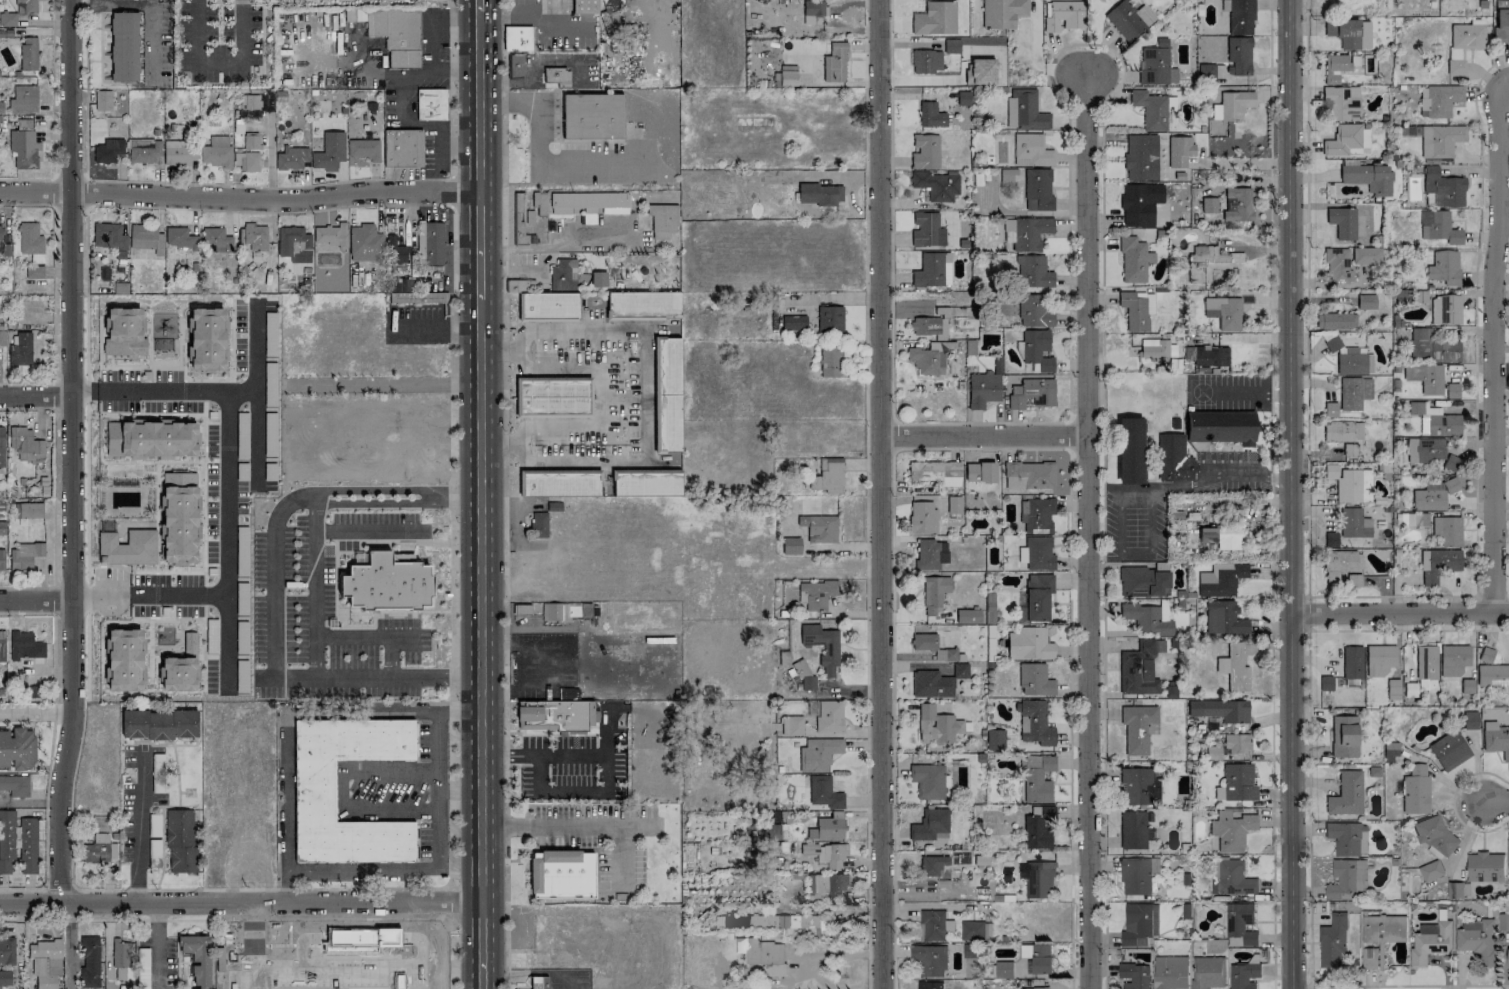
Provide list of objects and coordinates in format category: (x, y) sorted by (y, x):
road: (479, 5)
building: (26, 6)
building: (584, 6)
building: (813, 7)
building: (1002, 12)
building: (1064, 16)
building: (1239, 16)
building: (935, 18)
building: (7, 19)
building: (1129, 19)
building: (1501, 21)
road: (240, 29)
building: (1349, 32)
building: (396, 33)
building: (516, 37)
building: (1463, 43)
road: (1071, 44)
building: (952, 45)
building: (123, 46)
building: (28, 53)
building: (1239, 54)
building: (804, 59)
building: (926, 61)
building: (835, 62)
building: (515, 64)
building: (1156, 64)
building: (1335, 67)
building: (982, 71)
building: (1206, 72)
building: (556, 75)
building: (787, 78)
road: (1502, 81)
building: (963, 98)
building: (23, 99)
building: (1438, 100)
building: (250, 101)
road: (479, 101)
building: (1342, 102)
building: (430, 103)
building: (102, 105)
building: (1232, 105)
building: (1153, 108)
building: (1025, 110)
road: (51, 114)
building: (592, 115)
building: (931, 115)
building: (251, 140)
building: (1348, 140)
building: (1440, 140)
building: (401, 147)
building: (364, 149)
building: (23, 150)
building: (108, 150)
building: (143, 150)
building: (176, 150)
building: (1031, 150)
building: (1179, 150)
building: (217, 151)
building: (329, 151)
building: (924, 151)
building: (291, 157)
building: (1141, 157)
building: (247, 161)
road: (540, 162)
building: (1005, 175)
building: (1368, 177)
building: (936, 185)
road: (267, 186)
building: (1443, 188)
building: (1037, 189)
road: (56, 192)
building: (819, 193)
road: (240, 198)
building: (589, 202)
building: (540, 203)
building: (1237, 204)
building: (1208, 205)
building: (1136, 206)
building: (662, 220)
building: (1342, 222)
building: (1438, 227)
building: (926, 230)
building: (0, 232)
building: (1030, 232)
building: (331, 235)
building: (109, 236)
building: (255, 236)
building: (30, 238)
building: (147, 238)
building: (180, 238)
building: (216, 239)
building: (428, 242)
building: (365, 243)
building: (294, 244)
road: (561, 244)
road: (480, 245)
building: (396, 251)
building: (1366, 255)
building: (37, 258)
building: (1134, 259)
building: (1208, 262)
building: (1337, 264)
building: (1444, 266)
building: (929, 270)
building: (34, 271)
building: (1033, 271)
road: (52, 293)
building: (416, 297)
road: (1307, 297)
building: (1366, 301)
building: (643, 304)
building: (550, 305)
building: (1137, 309)
building: (1445, 309)
building: (1033, 311)
building: (1224, 312)
building: (829, 319)
building: (1336, 320)
building: (793, 322)
building: (925, 325)
building: (942, 329)
road: (433, 330)
building: (123, 332)
building: (1, 334)
building: (205, 339)
building: (1432, 346)
road: (1495, 347)
building: (1156, 348)
building: (1036, 349)
building: (21, 350)
building: (1188, 352)
building: (1210, 356)
building: (927, 359)
building: (830, 361)
building: (1354, 362)
road: (257, 365)
building: (1425, 377)
road: (1474, 377)
building: (983, 389)
building: (1452, 390)
building: (1354, 392)
building: (667, 393)
building: (1032, 393)
road: (1242, 394)
building: (552, 395)
road: (601, 395)
road: (36, 396)
road: (480, 397)
road: (644, 397)
building: (1330, 409)
building: (1435, 420)
building: (1220, 426)
road: (982, 435)
building: (150, 439)
road: (256, 441)
building: (26, 444)
building: (2, 447)
road: (981, 448)
building: (1425, 449)
building: (1129, 450)
road: (72, 452)
building: (1173, 458)
building: (1452, 462)
road: (226, 465)
building: (985, 471)
building: (971, 473)
building: (1029, 475)
road: (1205, 478)
building: (645, 482)
building: (1345, 482)
building: (561, 484)
road: (375, 490)
road: (504, 492)
road: (1161, 492)
road: (867, 494)
road: (879, 494)
road: (1272, 494)
road: (1291, 494)
building: (1431, 496)
road: (458, 497)
road: (375, 503)
building: (30, 509)
building: (928, 513)
building: (1036, 515)
building: (178, 517)
building: (1411, 519)
building: (539, 524)
building: (1355, 525)
building: (2, 527)
building: (819, 528)
road: (1086, 529)
building: (1447, 530)
building: (1220, 535)
road: (480, 538)
building: (1330, 539)
building: (791, 545)
building: (127, 547)
building: (1037, 553)
road: (1132, 553)
building: (930, 554)
building: (25, 555)
building: (241, 556)
building: (2, 559)
building: (1438, 563)
building: (1340, 564)
building: (1221, 579)
building: (1144, 580)
building: (1353, 580)
building: (386, 583)
road: (315, 586)
building: (934, 593)
road: (149, 594)
building: (816, 594)
road: (1329, 595)
building: (1036, 598)
road: (36, 600)
building: (552, 611)
building: (1163, 611)
road: (1308, 612)
road: (1400, 614)
building: (968, 616)
building: (1145, 618)
building: (1224, 618)
road: (450, 630)
road: (1335, 630)
road: (1435, 630)
road: (364, 636)
building: (1029, 643)
building: (25, 645)
building: (2, 646)
building: (823, 646)
building: (932, 646)
road: (522, 647)
building: (1486, 654)
building: (1380, 659)
building: (123, 660)
building: (1453, 660)
road: (621, 661)
building: (1352, 662)
building: (1426, 662)
building: (180, 667)
building: (1139, 667)
building: (1234, 667)
building: (960, 670)
road: (279, 672)
building: (1492, 675)
building: (1035, 680)
building: (808, 683)
building: (1326, 683)
road: (531, 684)
building: (931, 684)
building: (1467, 685)
building: (1393, 689)
building: (568, 693)
building: (1220, 709)
road: (36, 710)
building: (552, 715)
building: (829, 717)
building: (1470, 720)
building: (1035, 723)
building: (159, 724)
building: (792, 725)
building: (936, 725)
building: (1137, 727)
building: (1344, 736)
building: (1495, 738)
building: (995, 739)
road: (481, 740)
building: (1236, 742)
building: (17, 748)
road: (438, 748)
building: (1390, 748)
building: (1449, 750)
building: (818, 754)
road: (543, 755)
building: (1037, 777)
building: (928, 780)
building: (1238, 782)
building: (15, 785)
road: (341, 786)
building: (1139, 786)
building: (1415, 789)
building: (314, 790)
road: (602, 790)
building: (824, 792)
building: (1346, 794)
road: (1494, 799)
road: (1452, 801)
road: (1309, 807)
road: (551, 824)
road: (638, 824)
building: (930, 825)
building: (1038, 827)
building: (827, 829)
building: (1133, 829)
road: (287, 830)
building: (1231, 830)
building: (776, 831)
road: (136, 833)
building: (1435, 836)
building: (1347, 838)
building: (6, 840)
building: (180, 840)
building: (28, 845)
building: (97, 847)
road: (543, 848)
road: (620, 853)
building: (827, 853)
building: (1507, 853)
building: (932, 864)
building: (1485, 867)
building: (1431, 871)
building: (561, 874)
building: (1507, 874)
building: (1137, 875)
building: (1038, 878)
building: (1233, 878)
building: (1346, 880)
road: (409, 885)
building: (826, 885)
road: (287, 886)
building: (1458, 890)
road: (453, 902)
road: (240, 903)
road: (258, 918)
building: (1503, 921)
building: (1240, 922)
building: (775, 923)
building: (1139, 924)
building: (934, 925)
building: (1383, 928)
building: (972, 930)
road: (361, 936)
building: (357, 937)
building: (1477, 939)
building: (1332, 941)
building: (1430, 942)
road: (482, 945)
road: (155, 946)
road: (253, 946)
building: (7, 951)
building: (120, 953)
building: (762, 954)
building: (1037, 958)
building: (1369, 958)
building: (1508, 958)
building: (90, 959)
building: (197, 959)
building: (928, 960)
building: (47, 962)
road: (335, 964)
building: (1003, 970)
building: (1170, 972)
building: (1206, 972)
building: (1244, 975)
building: (1134, 976)
building: (5, 977)
road: (416, 977)
building: (539, 982)
road: (1409, 984)
road: (1310, 986)
building: (1034, 988)

